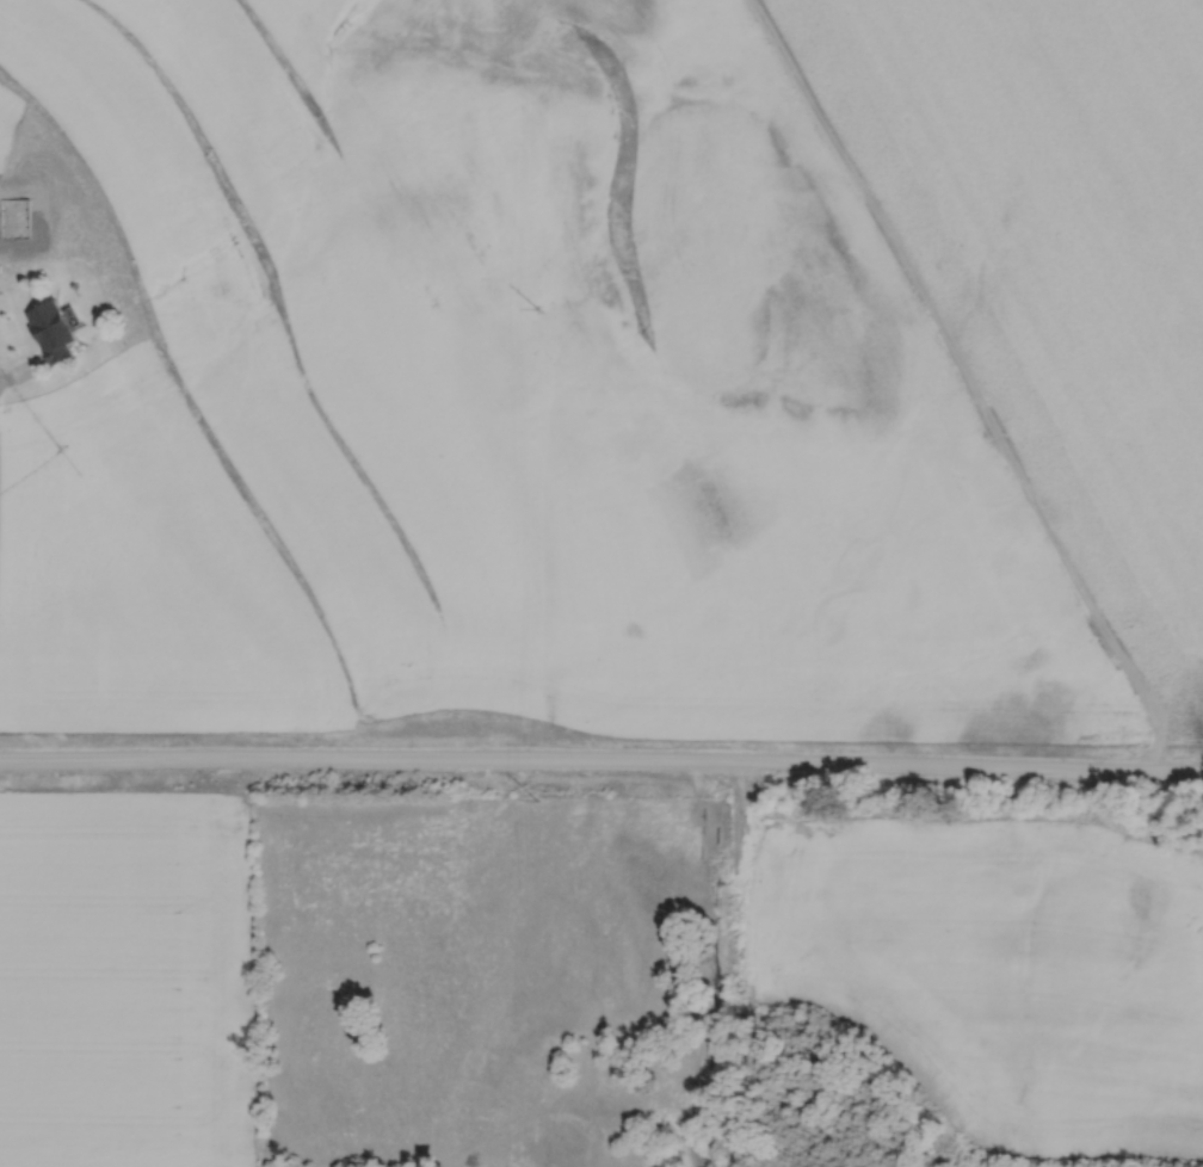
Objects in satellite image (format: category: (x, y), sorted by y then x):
building: (55, 332)
road: (601, 766)

